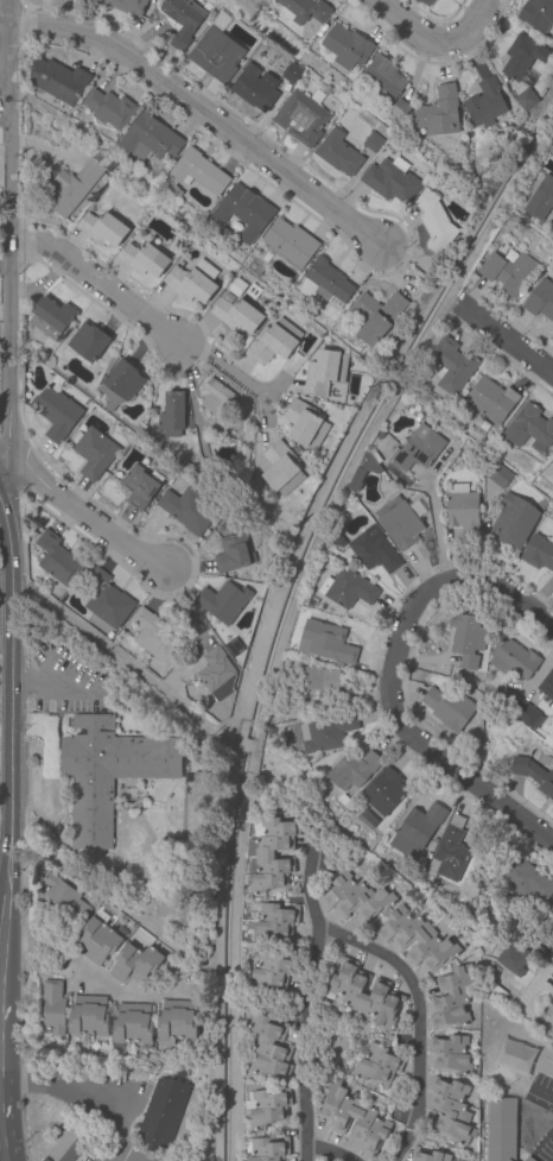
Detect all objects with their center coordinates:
building: (427, 2)
building: (127, 5)
building: (307, 10)
building: (536, 13)
road: (4, 14)
building: (182, 20)
building: (220, 21)
road: (433, 43)
building: (348, 46)
building: (215, 55)
building: (523, 59)
building: (291, 74)
building: (386, 76)
building: (59, 81)
building: (253, 88)
building: (526, 100)
building: (485, 103)
building: (110, 108)
building: (400, 111)
building: (440, 112)
road: (203, 114)
building: (301, 116)
building: (150, 139)
building: (373, 143)
building: (552, 144)
building: (552, 145)
building: (338, 153)
building: (199, 171)
building: (389, 181)
building: (72, 188)
building: (178, 191)
building: (541, 200)
building: (244, 208)
building: (434, 221)
building: (507, 225)
building: (103, 228)
road: (7, 235)
building: (288, 245)
building: (144, 259)
building: (508, 272)
building: (329, 280)
road: (97, 282)
building: (190, 284)
building: (253, 291)
building: (540, 299)
building: (236, 314)
building: (377, 315)
building: (50, 317)
road: (503, 337)
building: (274, 340)
building: (87, 343)
building: (452, 365)
road: (223, 366)
building: (324, 371)
building: (120, 384)
road: (268, 391)
building: (216, 398)
building: (491, 399)
building: (57, 414)
building: (172, 415)
building: (305, 424)
building: (140, 427)
building: (529, 427)
building: (248, 434)
building: (417, 448)
building: (93, 452)
building: (552, 462)
building: (552, 465)
building: (366, 467)
building: (282, 468)
building: (498, 475)
building: (139, 486)
building: (351, 506)
building: (187, 510)
building: (463, 512)
road: (82, 517)
building: (513, 520)
building: (405, 522)
road: (434, 526)
building: (339, 541)
building: (373, 550)
building: (234, 553)
building: (539, 553)
building: (56, 559)
road: (443, 582)
building: (348, 588)
building: (107, 600)
building: (223, 601)
building: (154, 636)
building: (468, 638)
building: (325, 642)
building: (234, 646)
road: (107, 654)
building: (513, 660)
building: (217, 673)
parking lot: (66, 679)
road: (56, 681)
building: (323, 683)
building: (547, 687)
building: (506, 699)
road: (9, 703)
building: (449, 707)
building: (527, 715)
building: (326, 732)
building: (549, 738)
building: (552, 745)
building: (192, 751)
road: (27, 756)
building: (354, 770)
building: (103, 771)
building: (533, 775)
road: (457, 776)
road: (161, 780)
building: (384, 791)
building: (131, 800)
road: (164, 800)
building: (343, 800)
building: (368, 820)
road: (164, 828)
building: (417, 831)
road: (151, 850)
road: (71, 851)
building: (449, 853)
building: (271, 856)
building: (525, 879)
building: (63, 898)
building: (355, 898)
building: (273, 922)
road: (1, 929)
building: (98, 939)
building: (427, 940)
building: (533, 940)
building: (513, 958)
building: (135, 963)
building: (271, 970)
road: (89, 979)
road: (306, 993)
building: (366, 995)
building: (451, 998)
road: (522, 1003)
building: (52, 1007)
building: (89, 1016)
road: (418, 1016)
building: (176, 1022)
building: (133, 1026)
building: (269, 1047)
building: (450, 1053)
building: (379, 1062)
building: (166, 1068)
building: (180, 1073)
parking lot: (540, 1087)
road: (85, 1089)
road: (542, 1089)
building: (269, 1108)
building: (450, 1110)
building: (163, 1112)
building: (337, 1118)
park: (538, 1119)
building: (501, 1129)
building: (69, 1144)
building: (267, 1149)
road: (329, 1149)
parking lot: (544, 1150)
building: (428, 1155)
road: (123, 1157)
building: (529, 1159)

